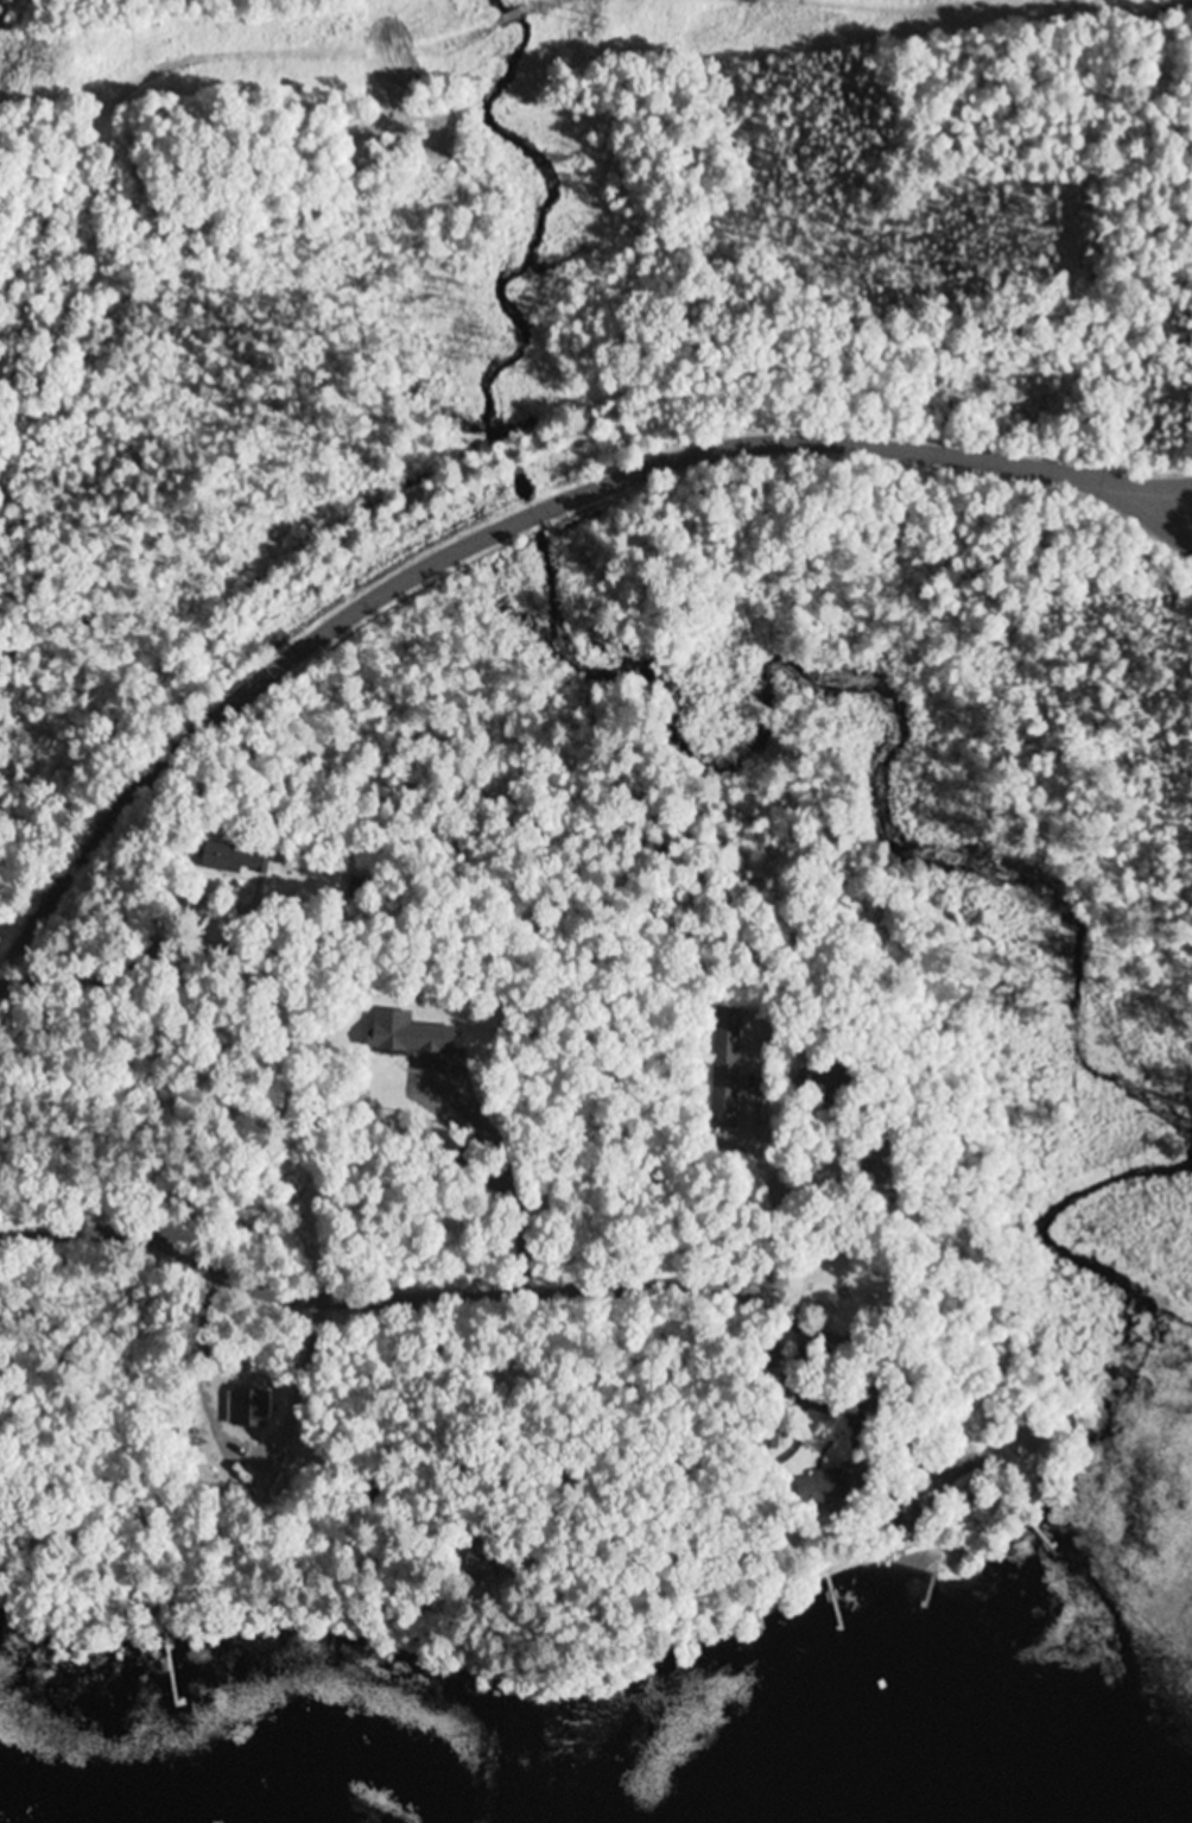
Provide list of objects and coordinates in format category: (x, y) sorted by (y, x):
power tower: (605, 23)
power tower: (53, 67)
road: (1141, 485)
road: (1141, 513)
road: (462, 549)
building: (234, 861)
building: (725, 1068)
building: (882, 1172)
road: (325, 1303)
building: (1025, 1445)
building: (830, 1488)
building: (970, 1496)
building: (483, 1562)

